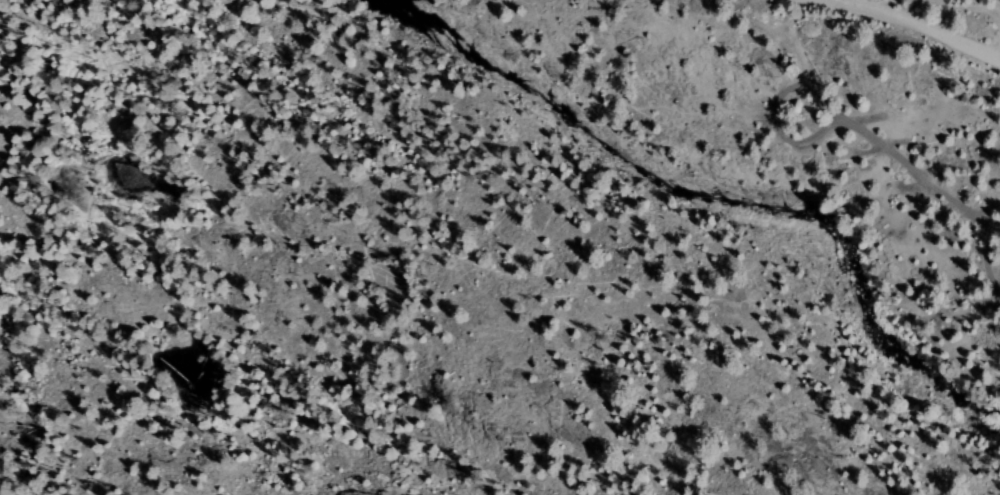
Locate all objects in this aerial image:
road: (972, 8)
road: (910, 21)
road: (996, 47)
road: (996, 59)
road: (772, 110)
road: (917, 173)
road: (988, 256)

